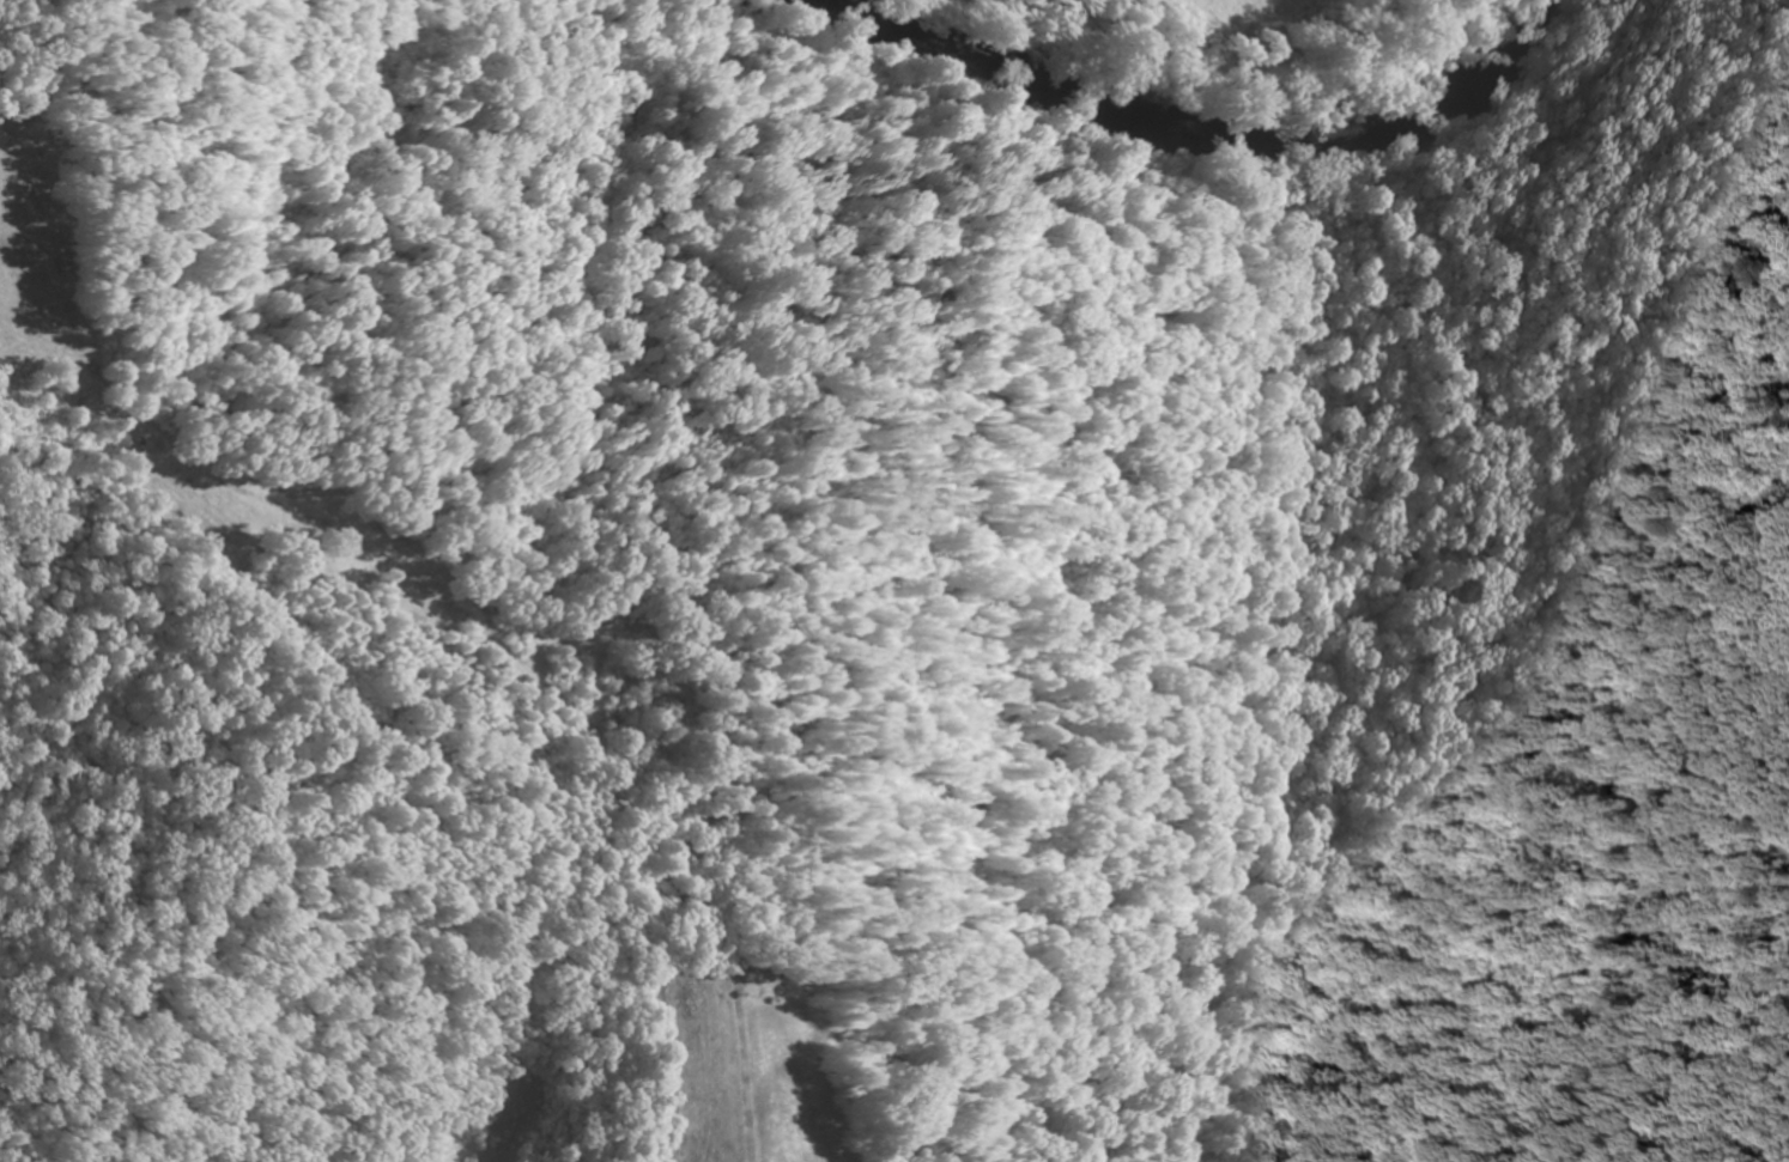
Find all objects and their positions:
river: (1158, 141)

